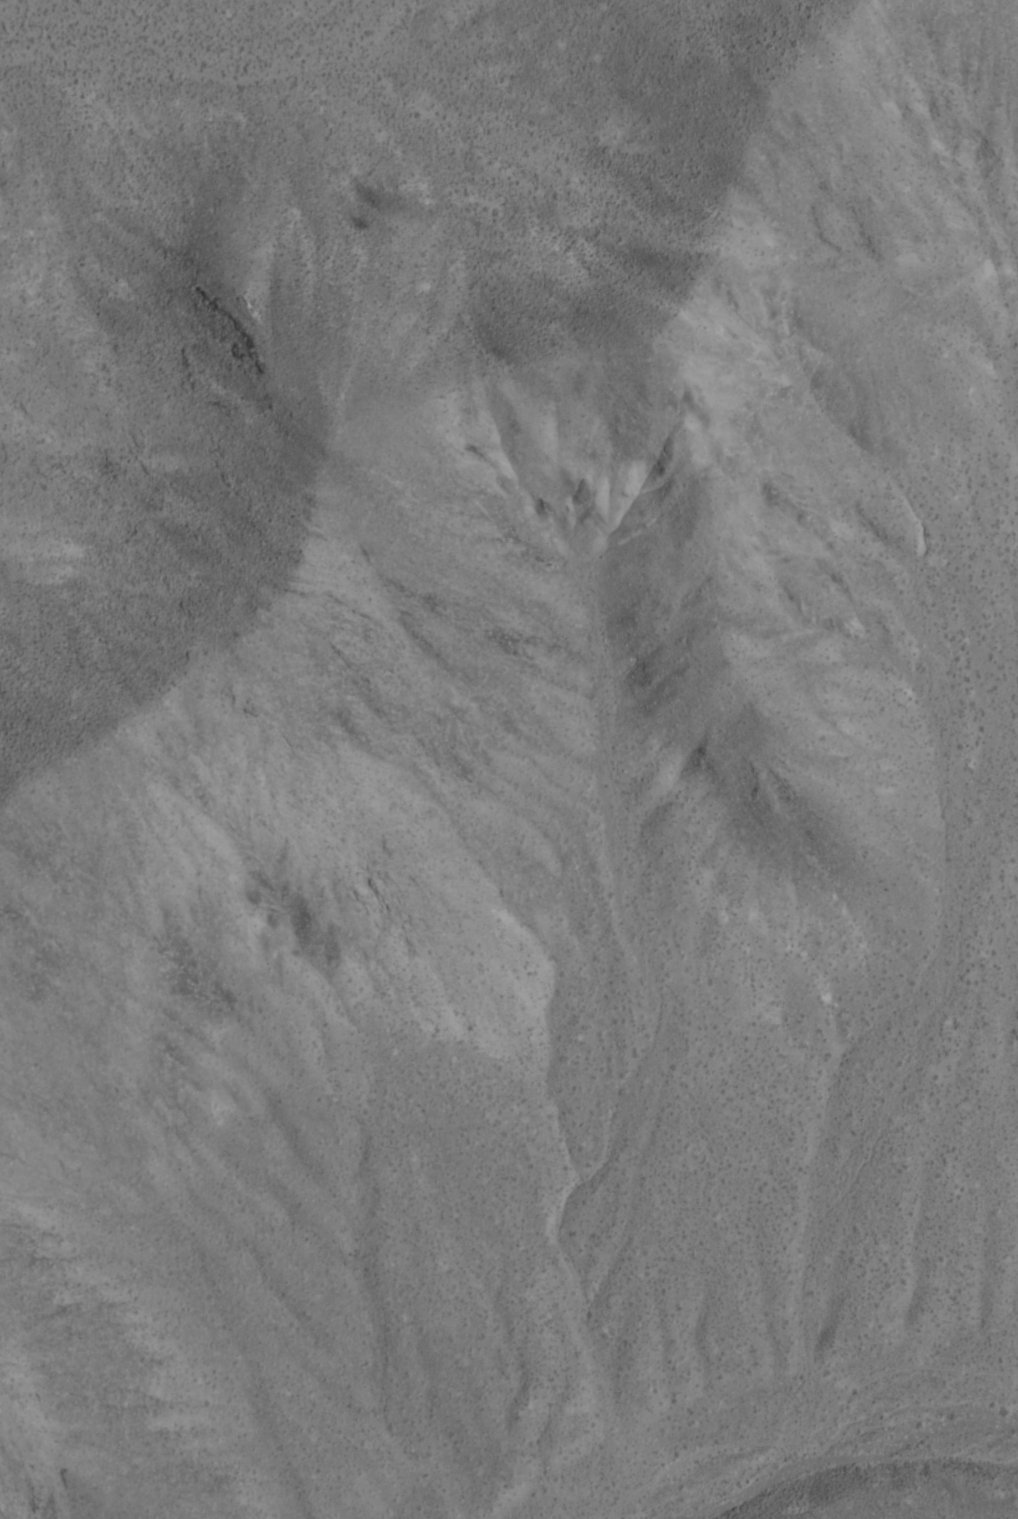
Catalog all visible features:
road: (806, 1438)

